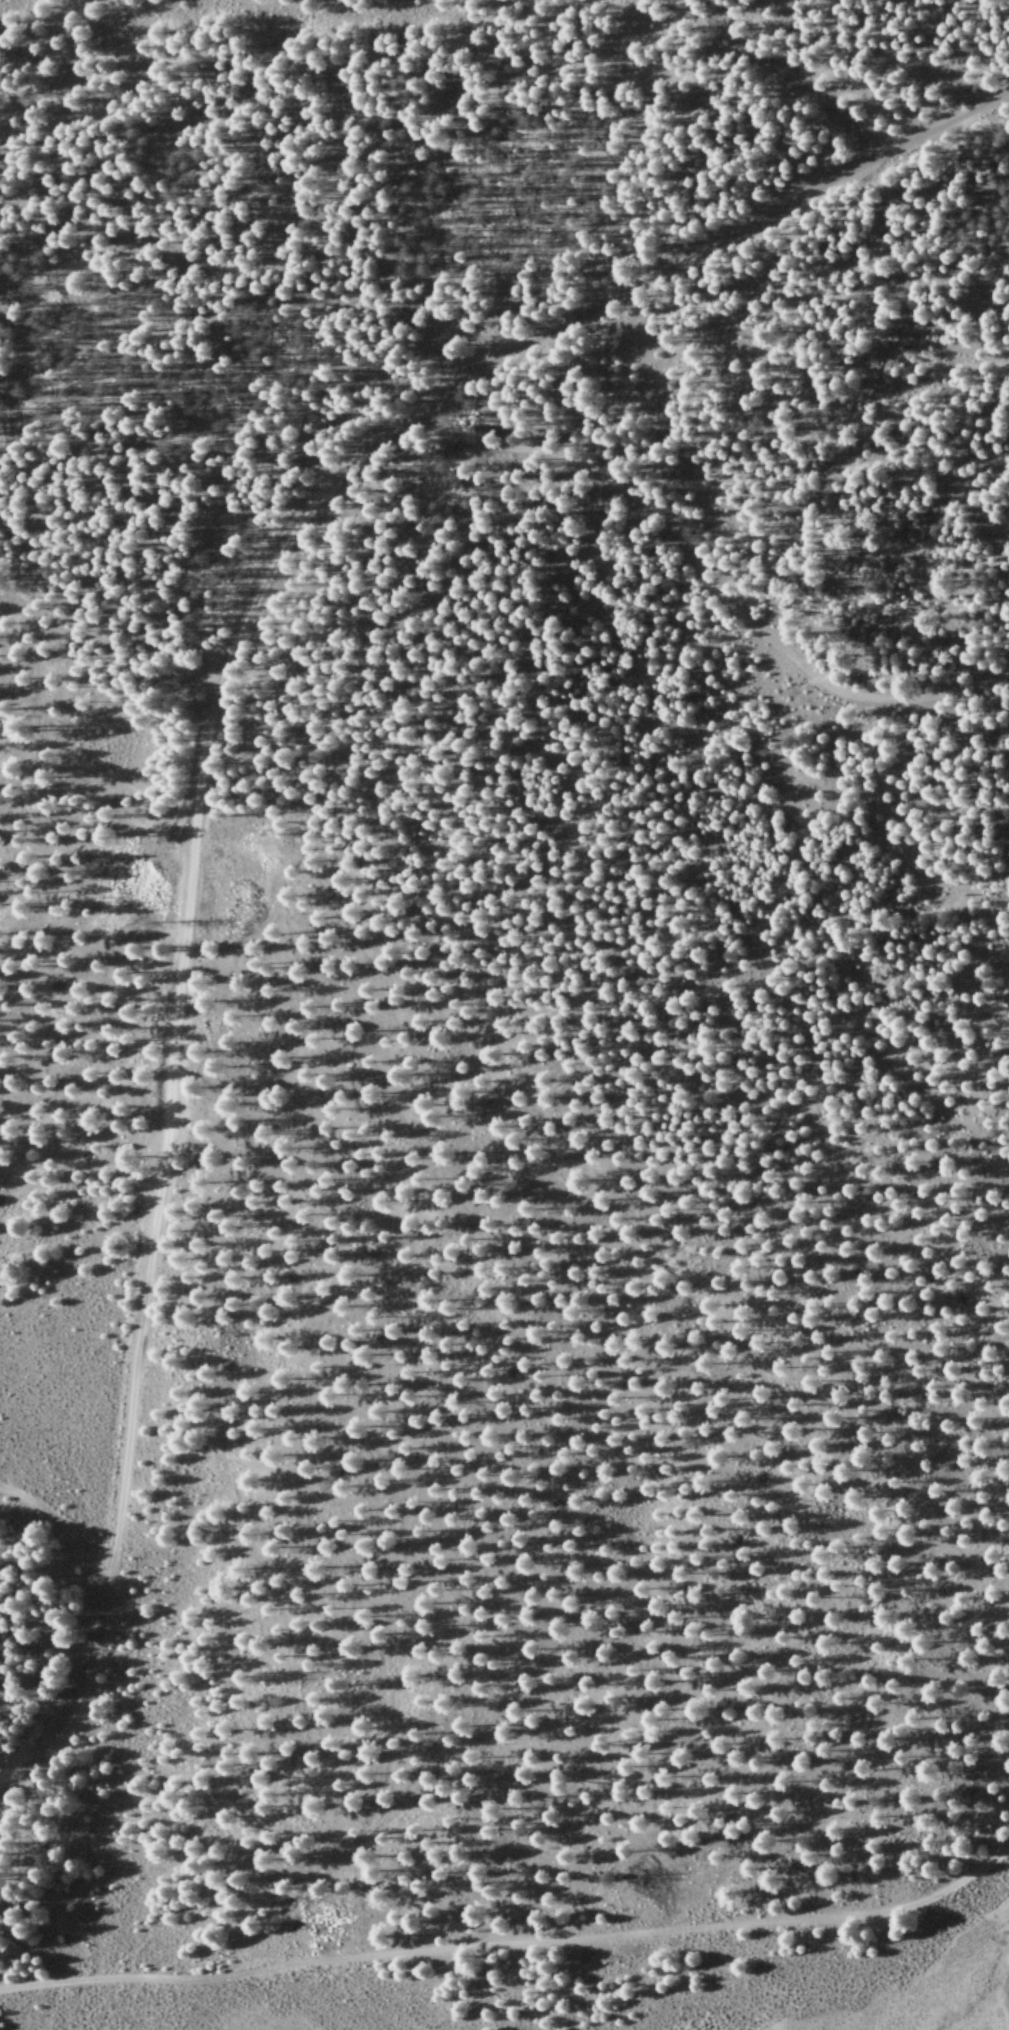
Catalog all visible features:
road: (236, 764)
road: (184, 1933)

